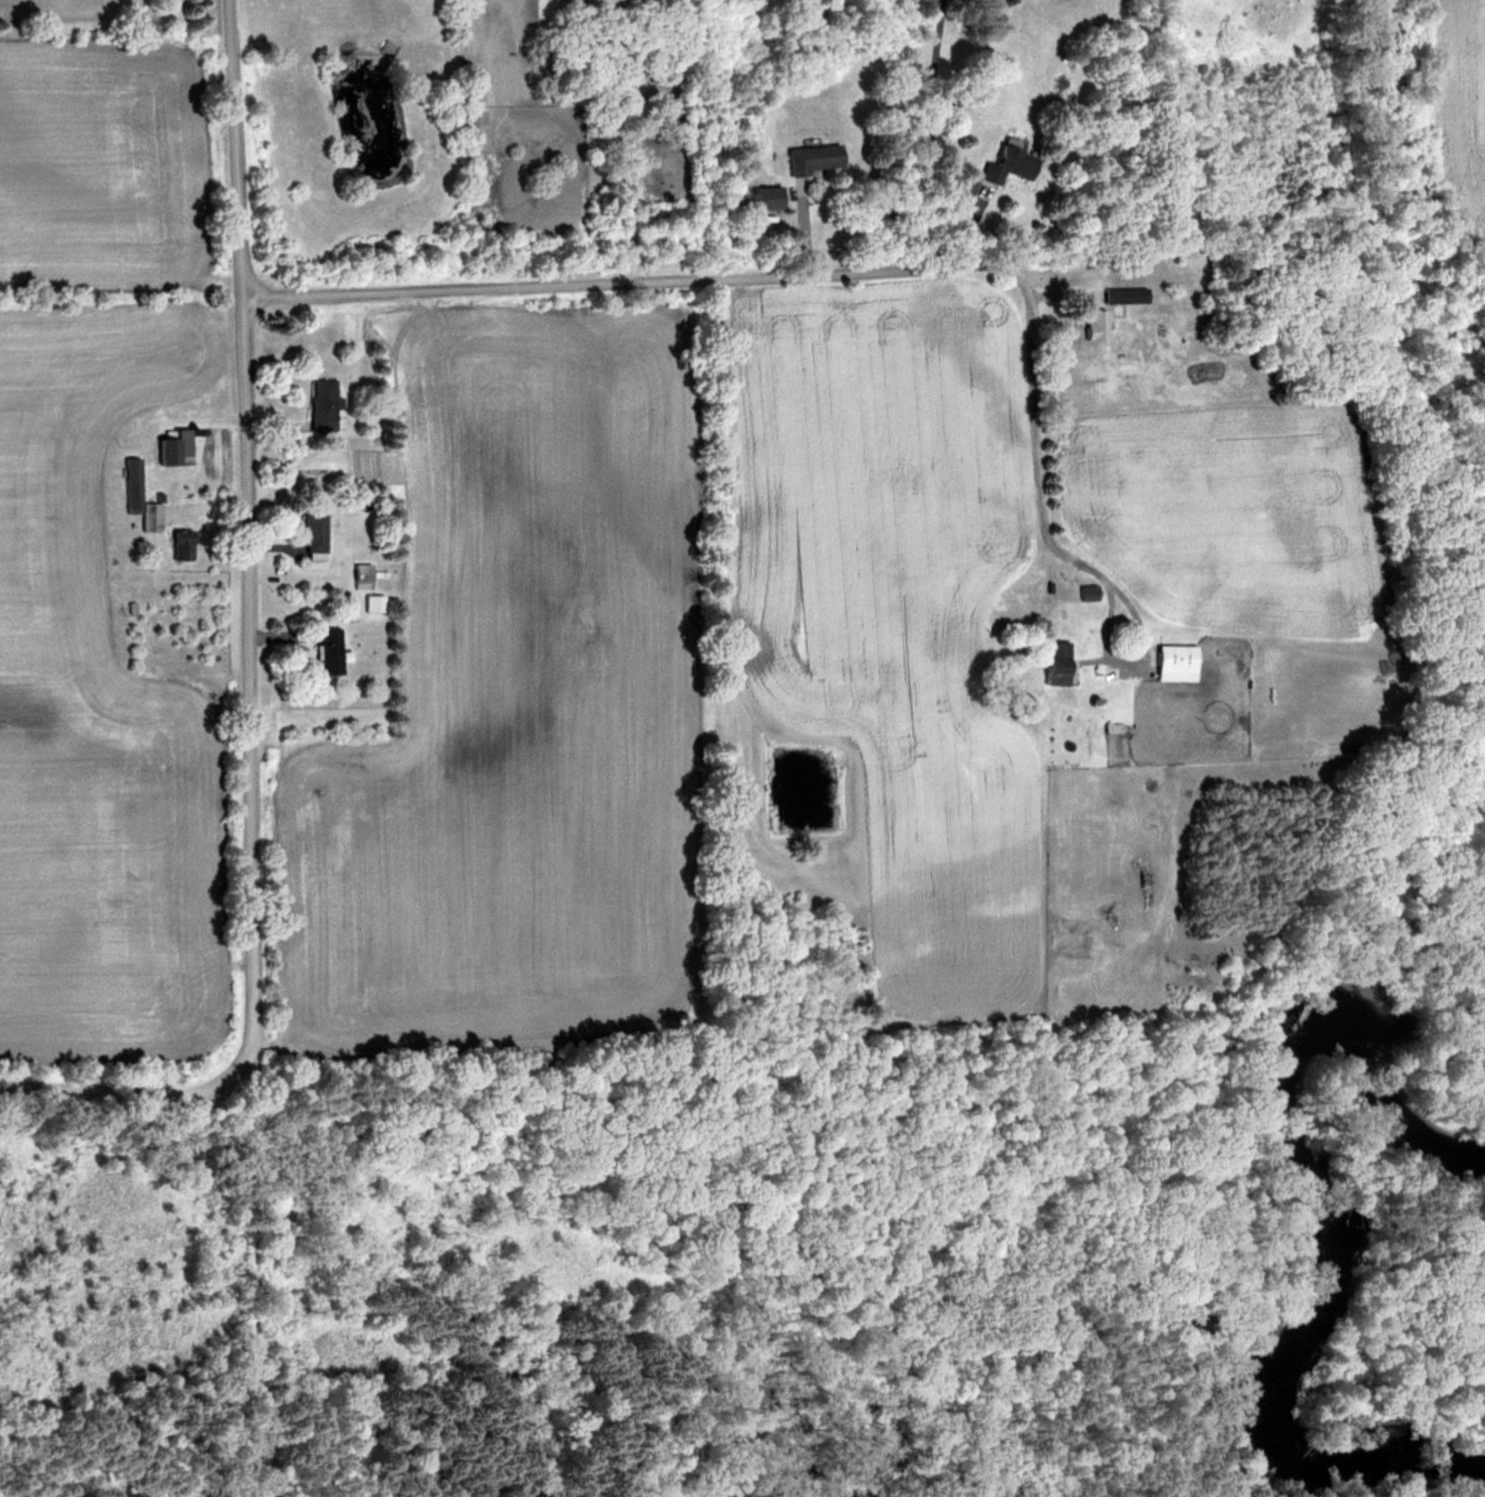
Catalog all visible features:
building: (811, 158)
building: (1004, 166)
building: (766, 198)
road: (621, 278)
building: (1124, 295)
building: (1093, 324)
building: (321, 405)
building: (171, 448)
road: (1033, 457)
building: (136, 497)
building: (311, 532)
road: (250, 535)
building: (179, 544)
building: (1087, 592)
building: (328, 651)
building: (1174, 662)
building: (1053, 663)
building: (1113, 727)
road: (122, 1083)
river: (1338, 1186)
park: (826, 1231)
road: (241, 1262)
road: (246, 1477)

